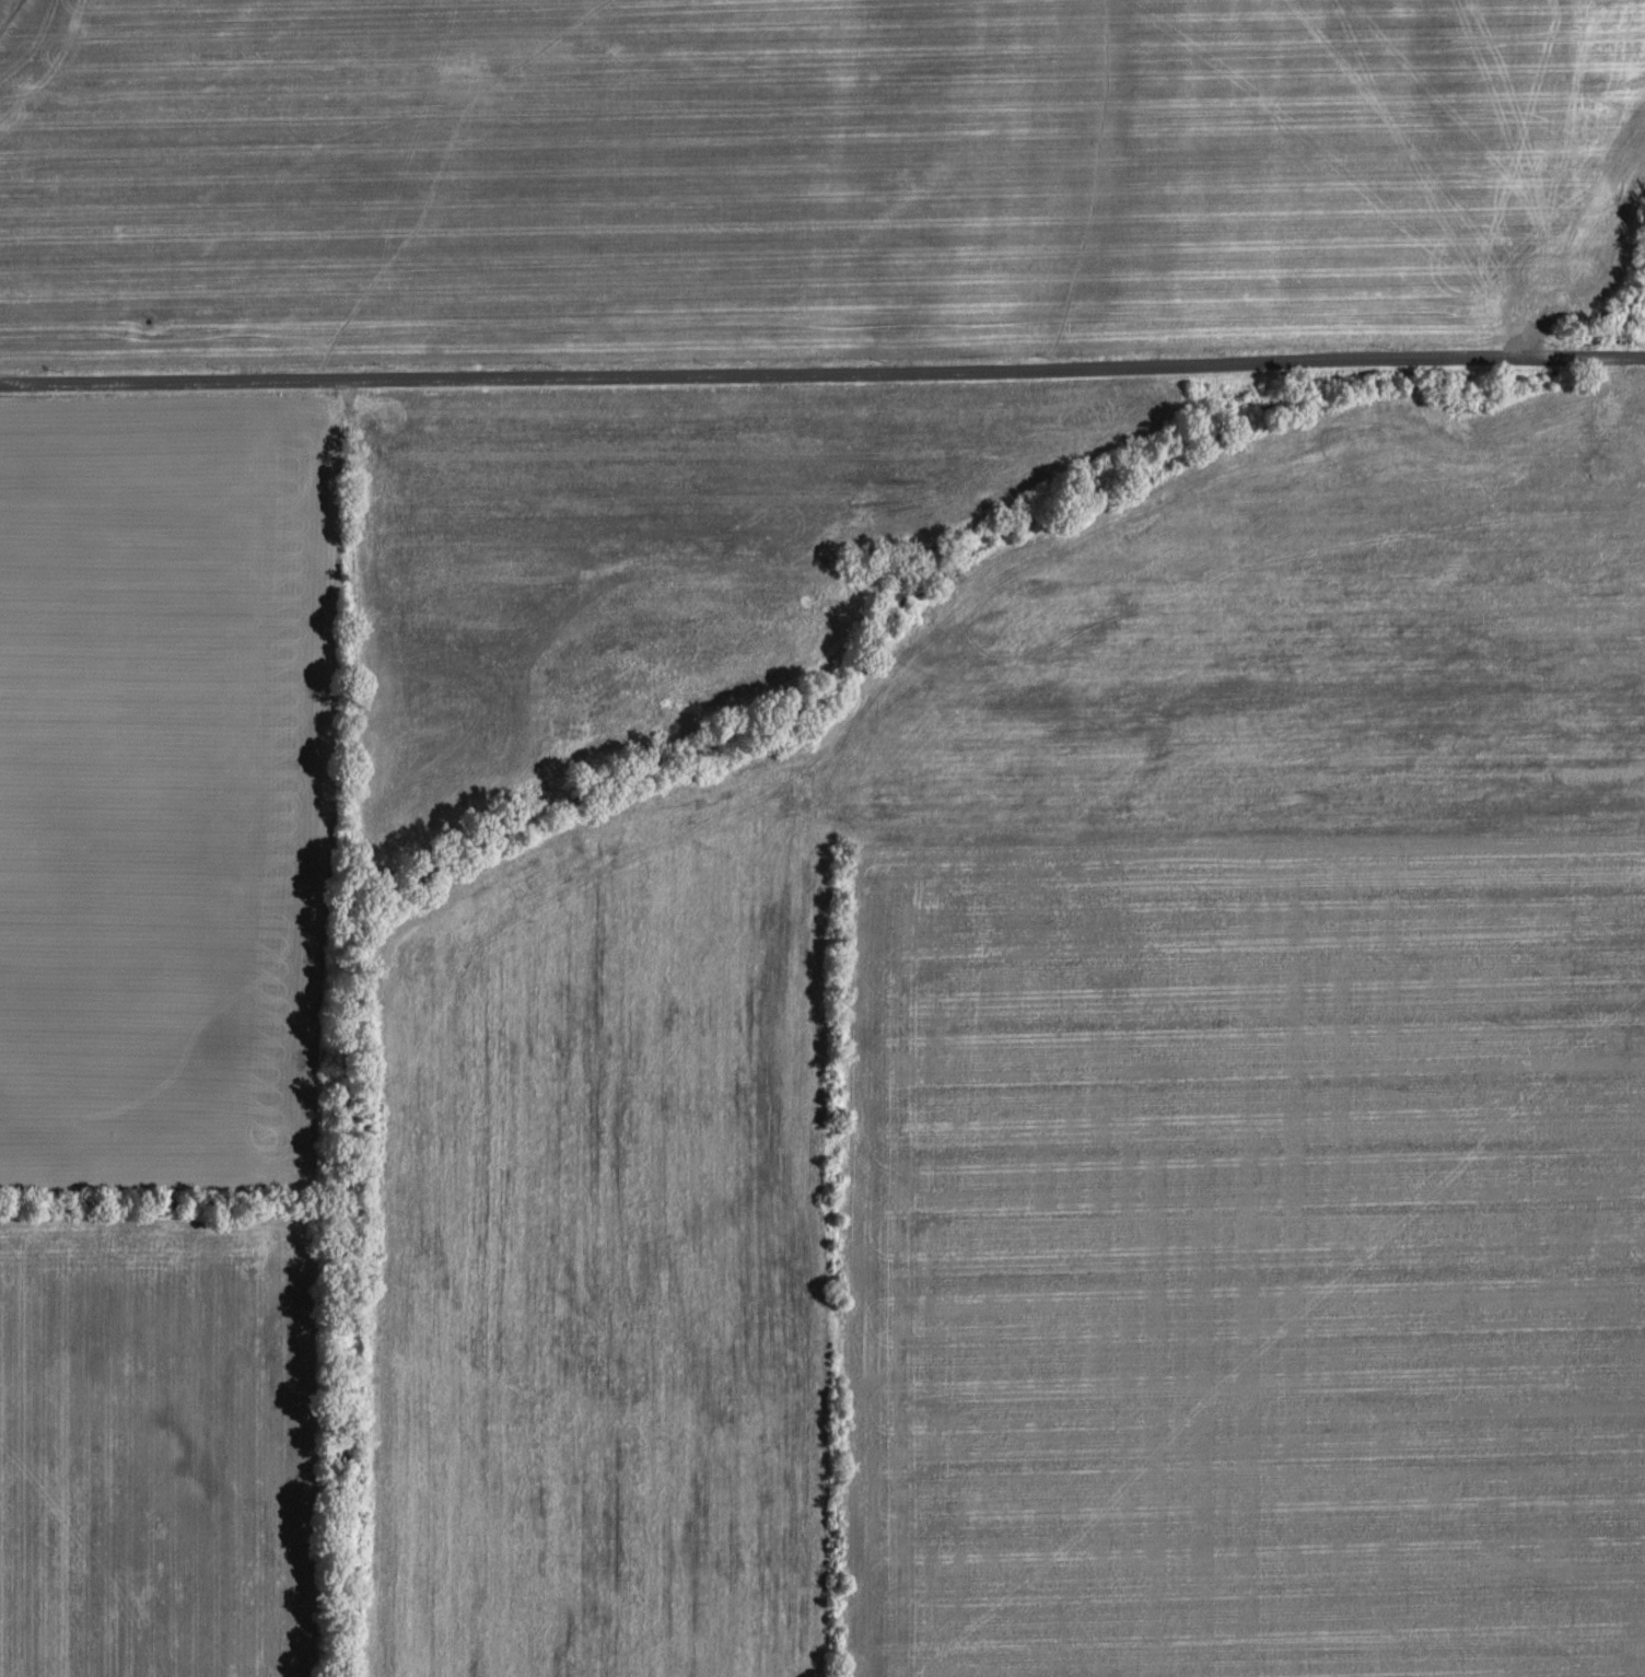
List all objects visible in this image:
road: (822, 372)

